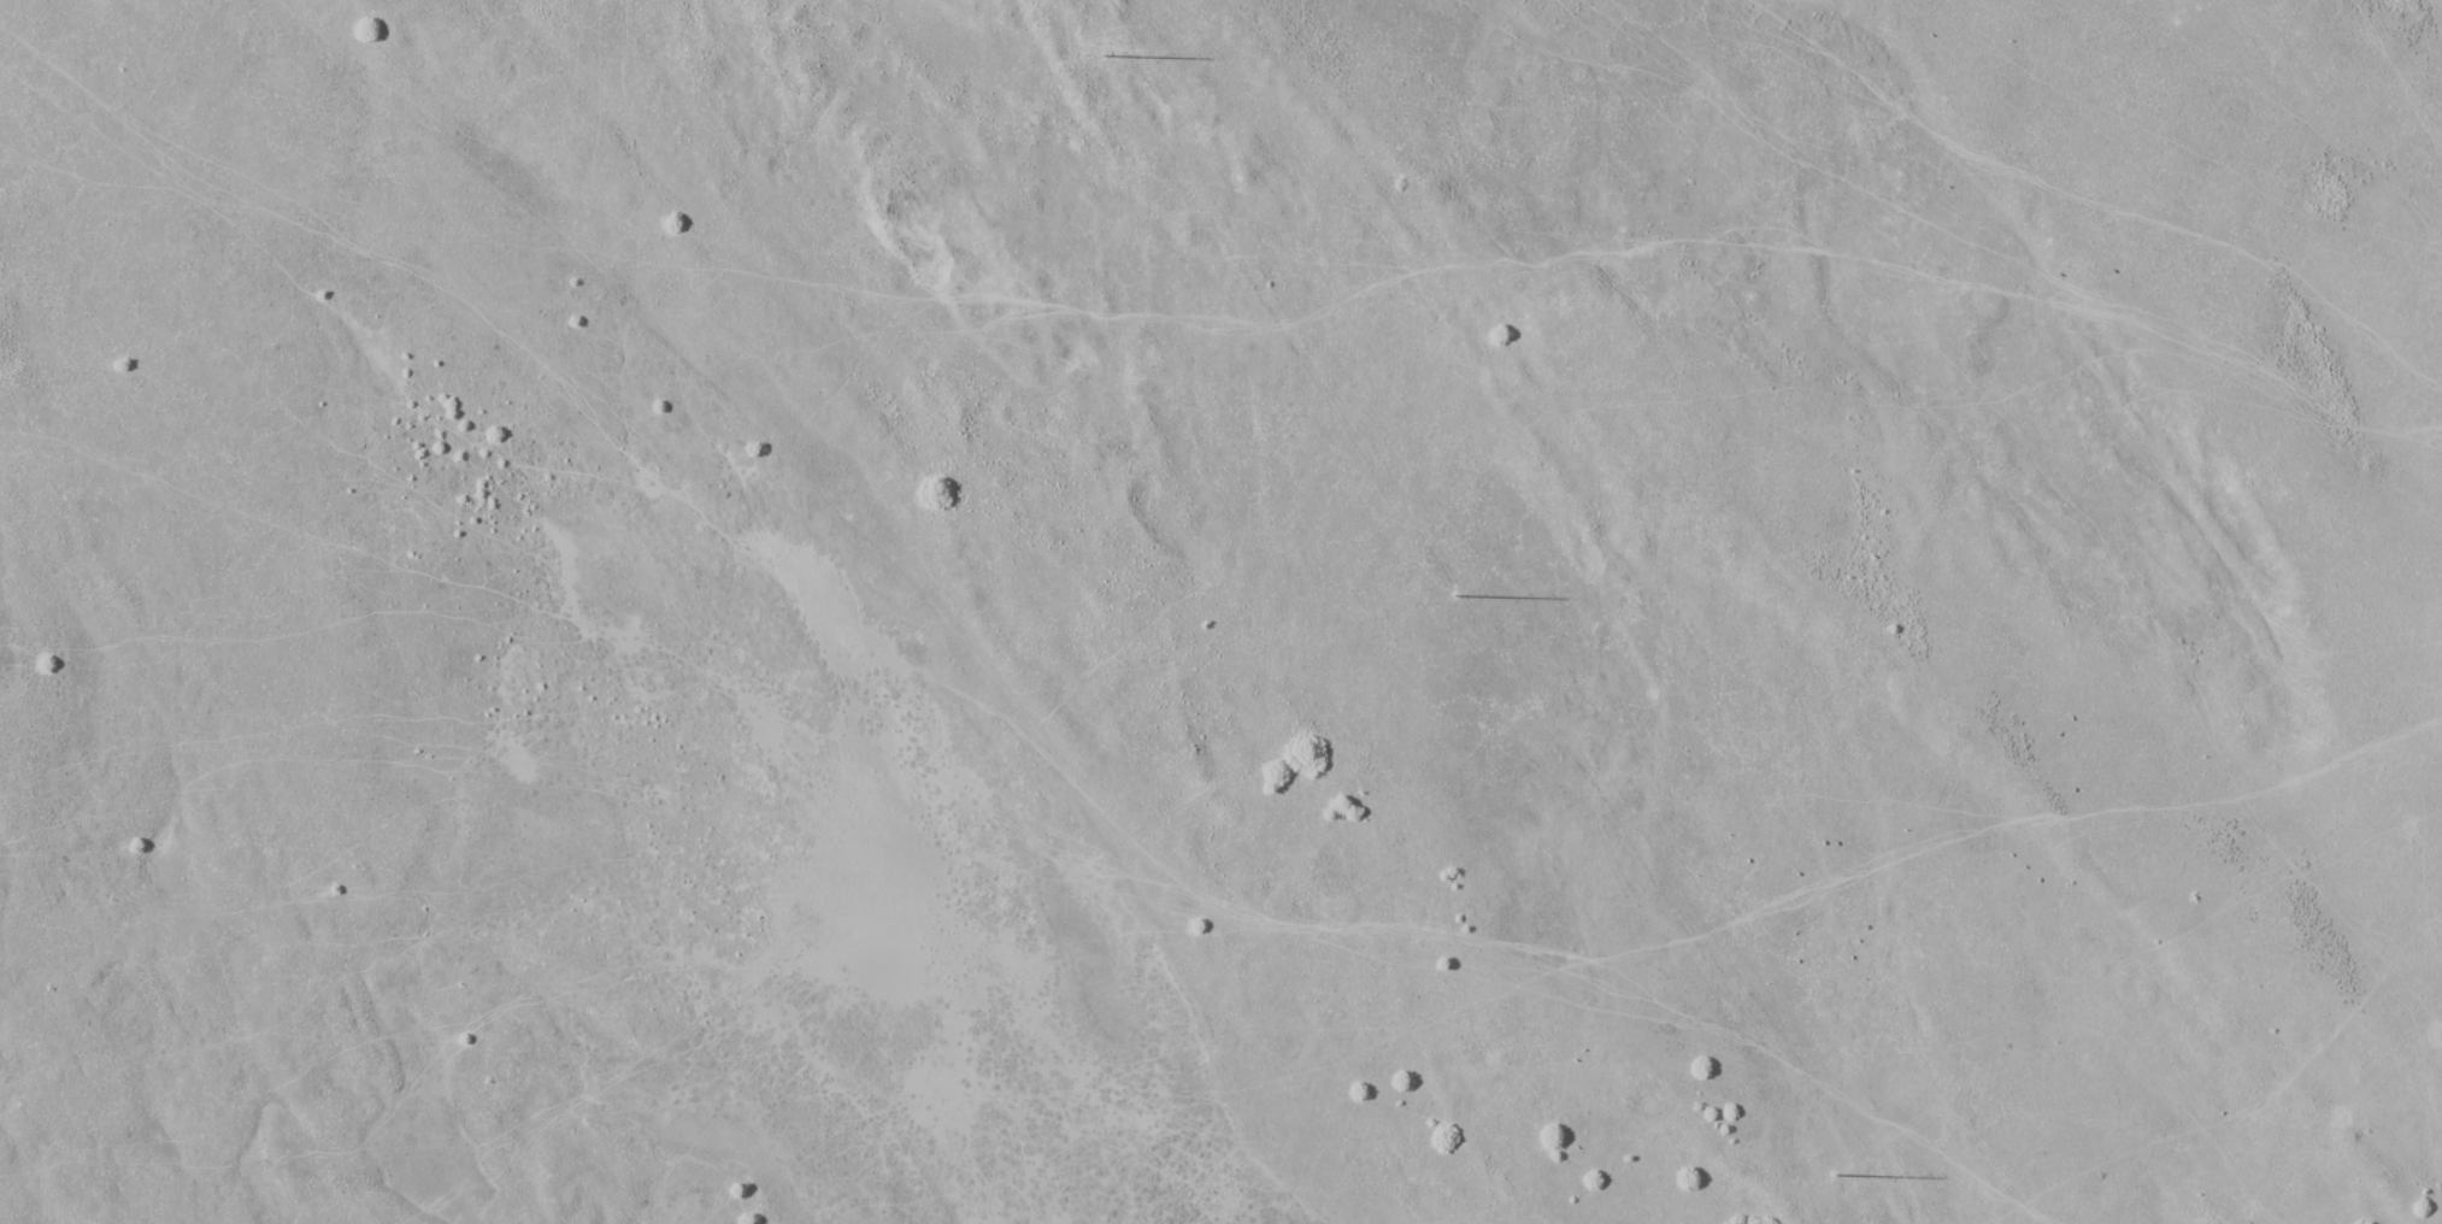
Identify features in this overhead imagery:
power tower: (1105, 57)
power tower: (1455, 596)
power tower: (1832, 1176)

